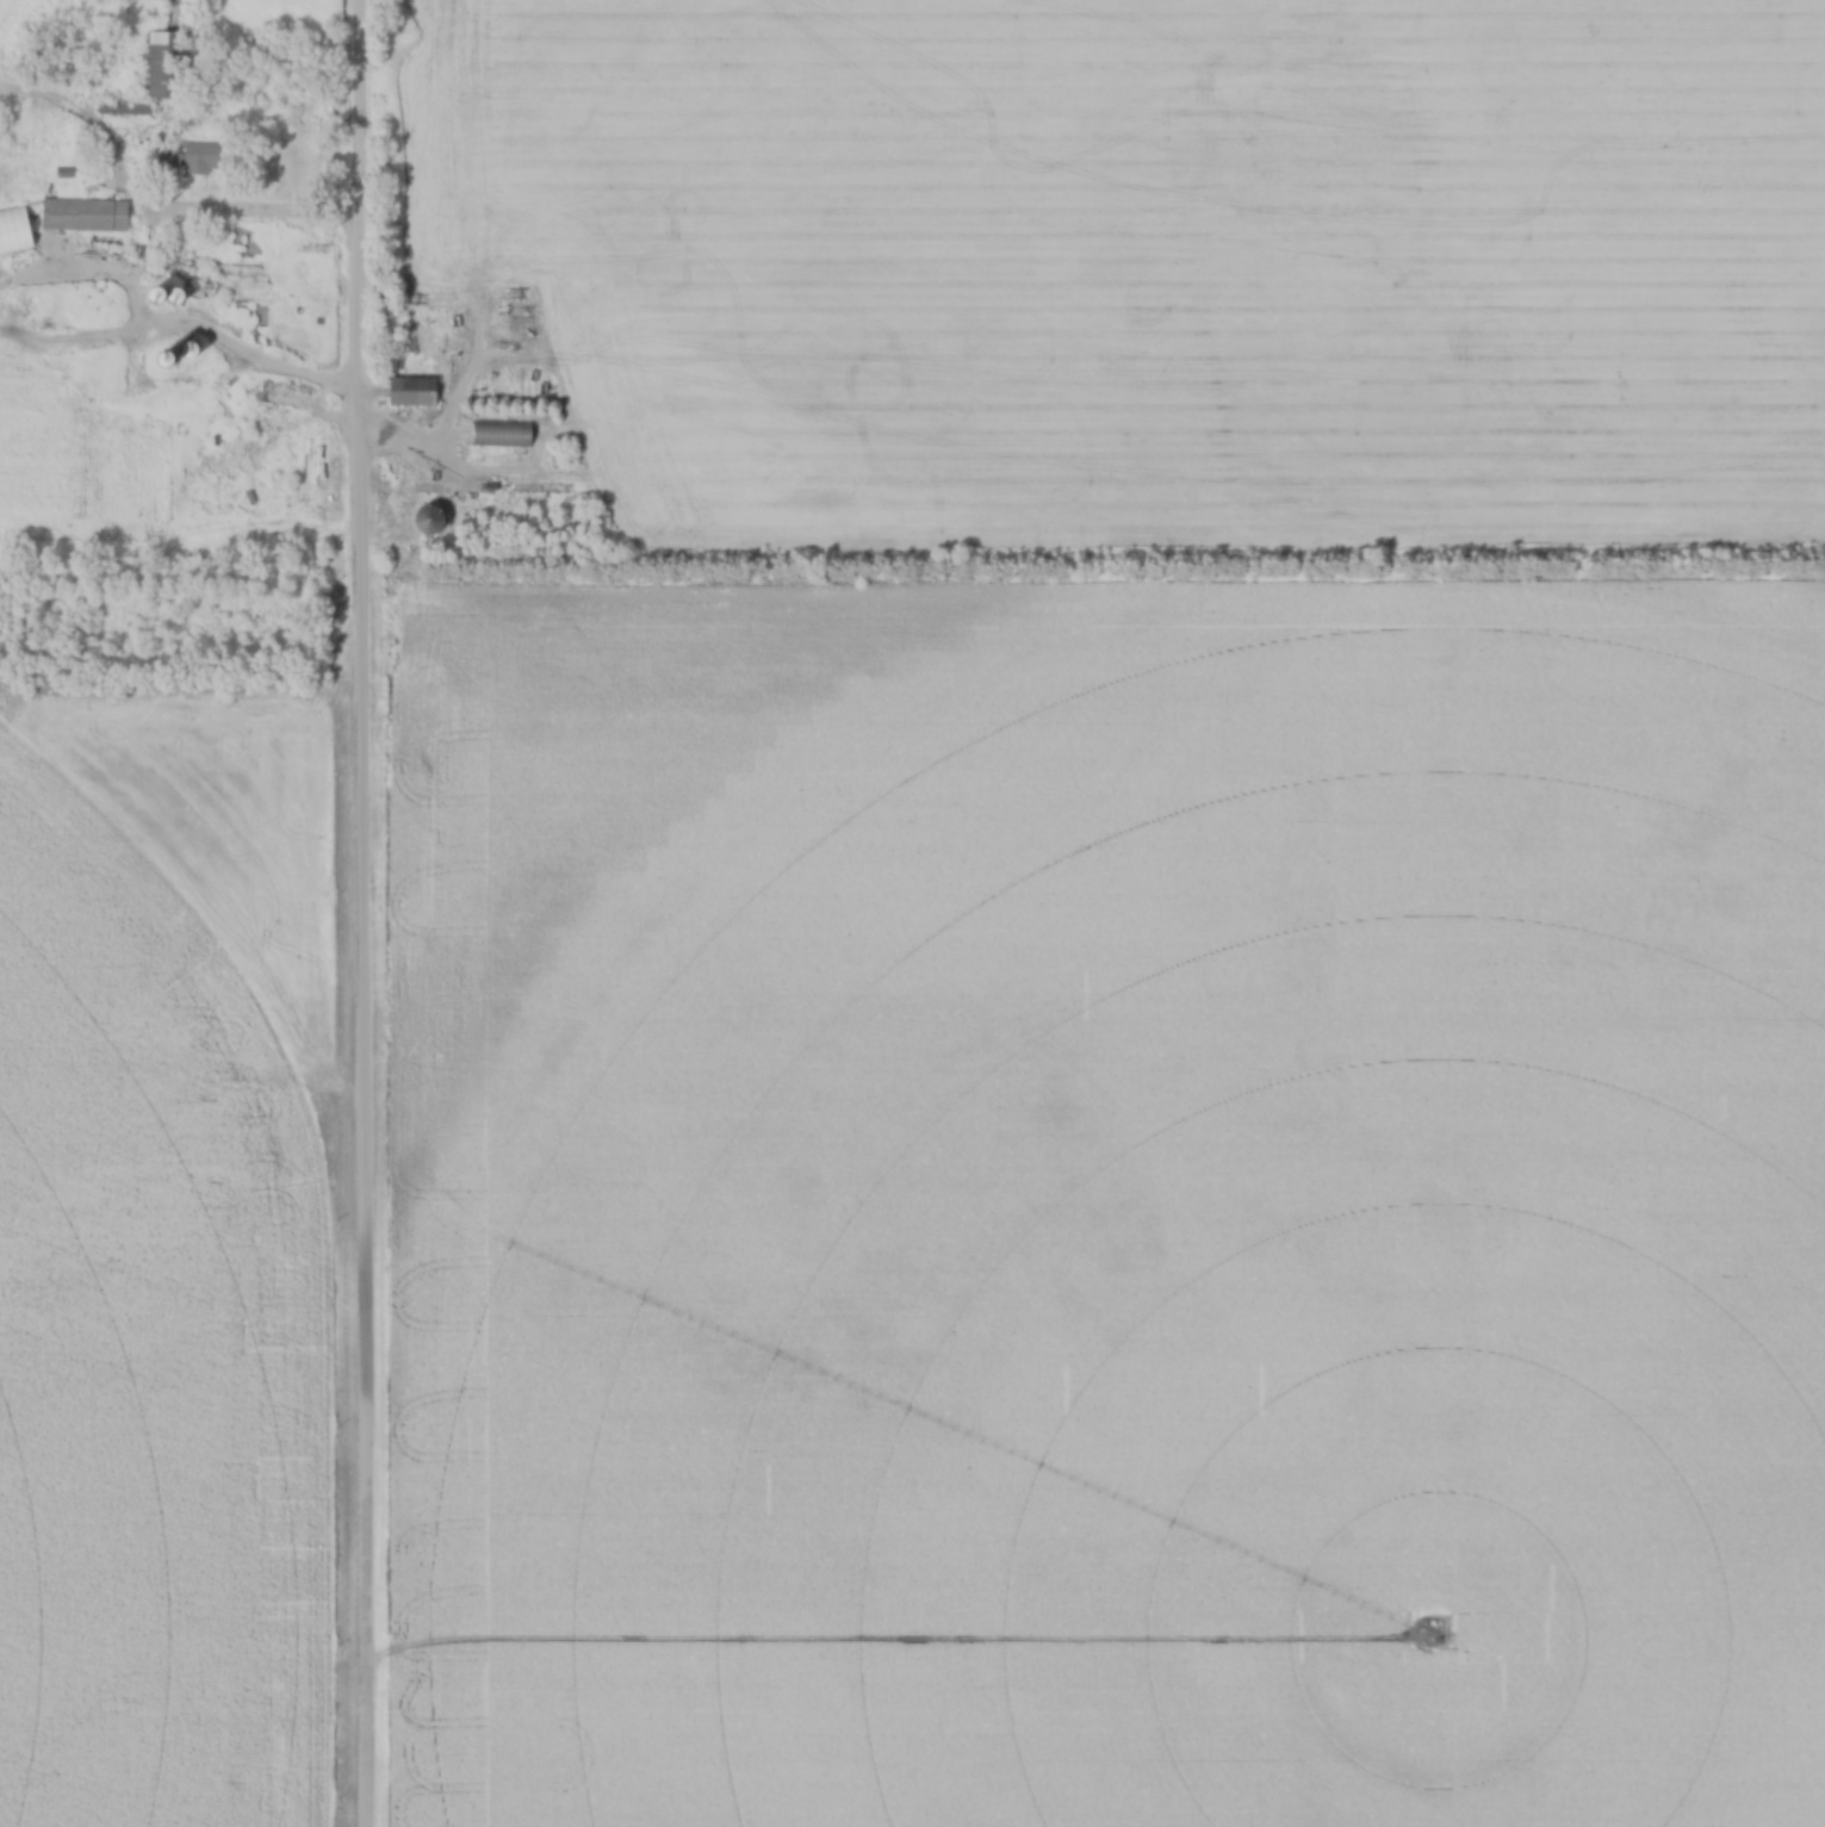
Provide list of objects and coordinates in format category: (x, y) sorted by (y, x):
building: (165, 50)
building: (194, 159)
building: (86, 216)
road: (248, 217)
building: (17, 231)
building: (238, 282)
building: (415, 393)
building: (503, 435)
road: (435, 493)
road: (361, 913)

